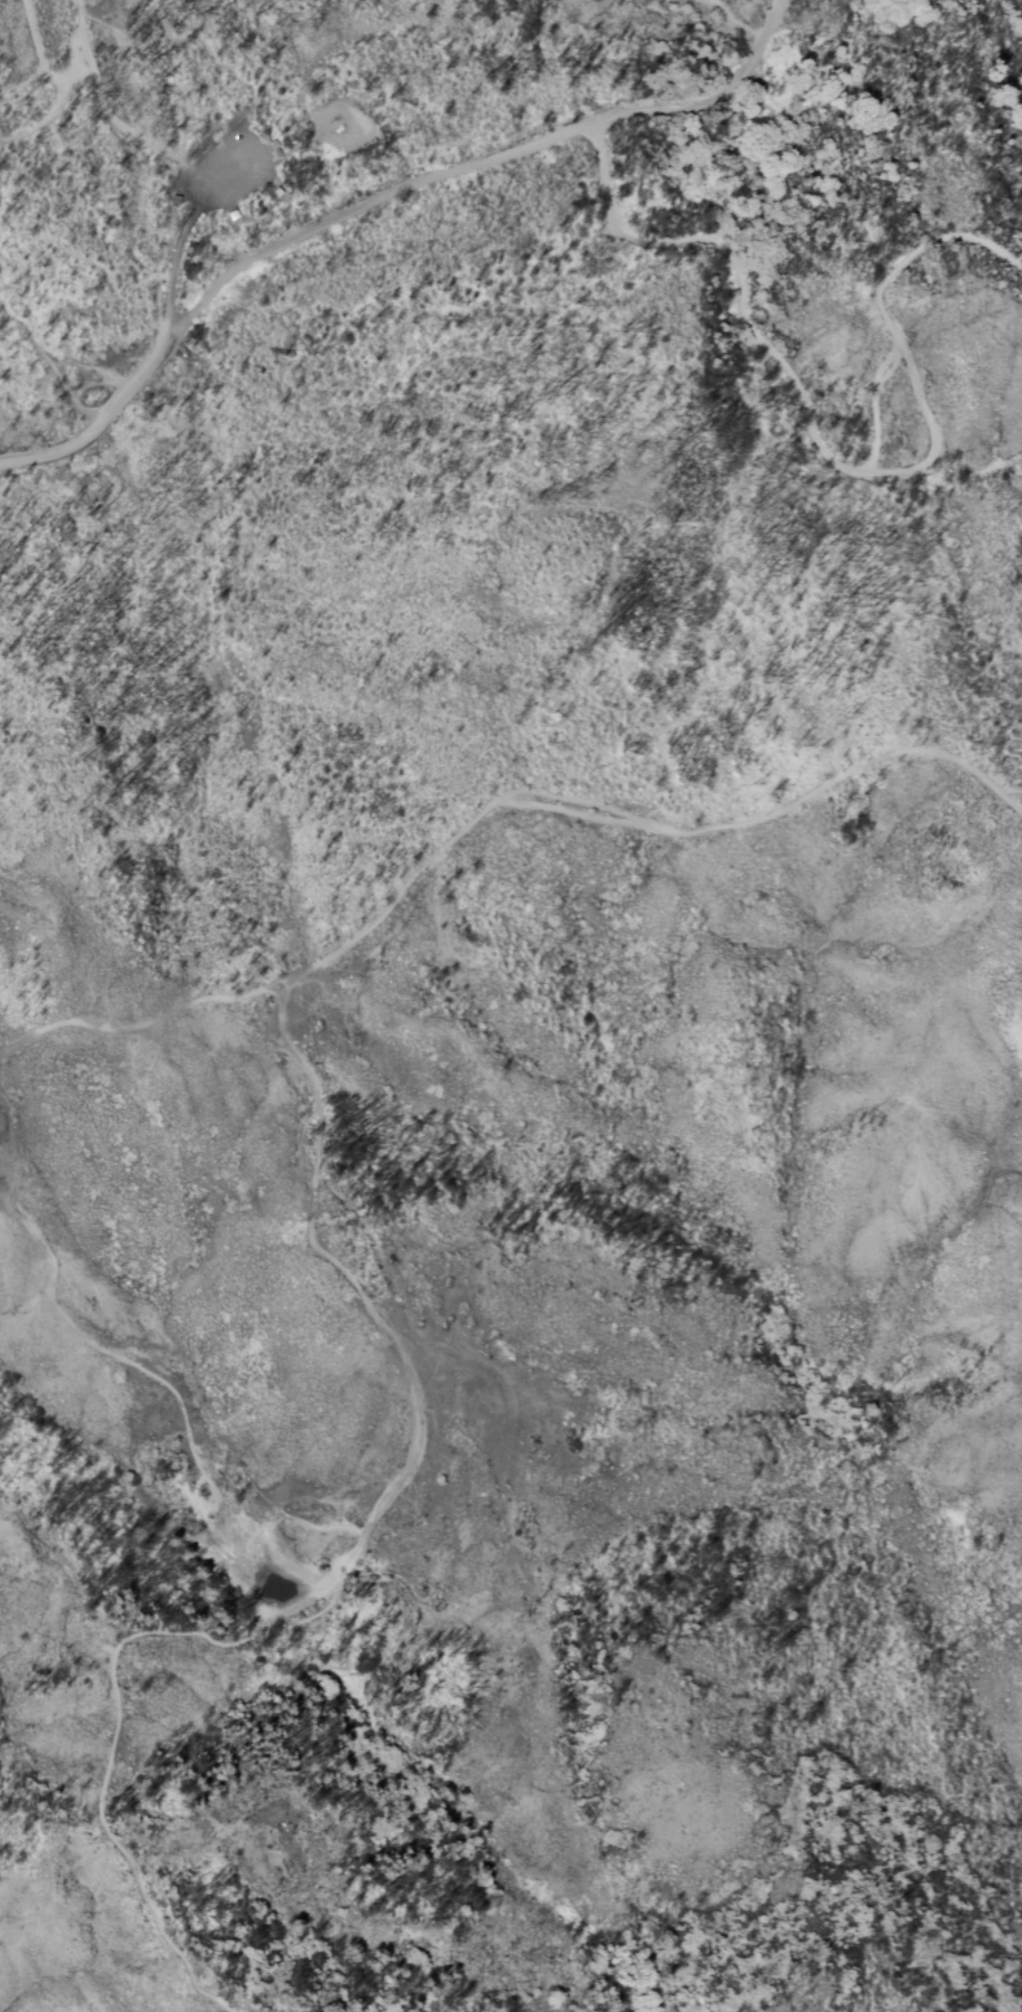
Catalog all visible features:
road: (200, 45)
road: (44, 60)
road: (712, 99)
road: (98, 101)
road: (44, 125)
road: (297, 148)
parking lot: (229, 177)
road: (364, 206)
road: (188, 224)
road: (52, 364)
road: (133, 383)
road: (54, 452)
road: (276, 1005)
road: (123, 1366)
road: (336, 1568)

